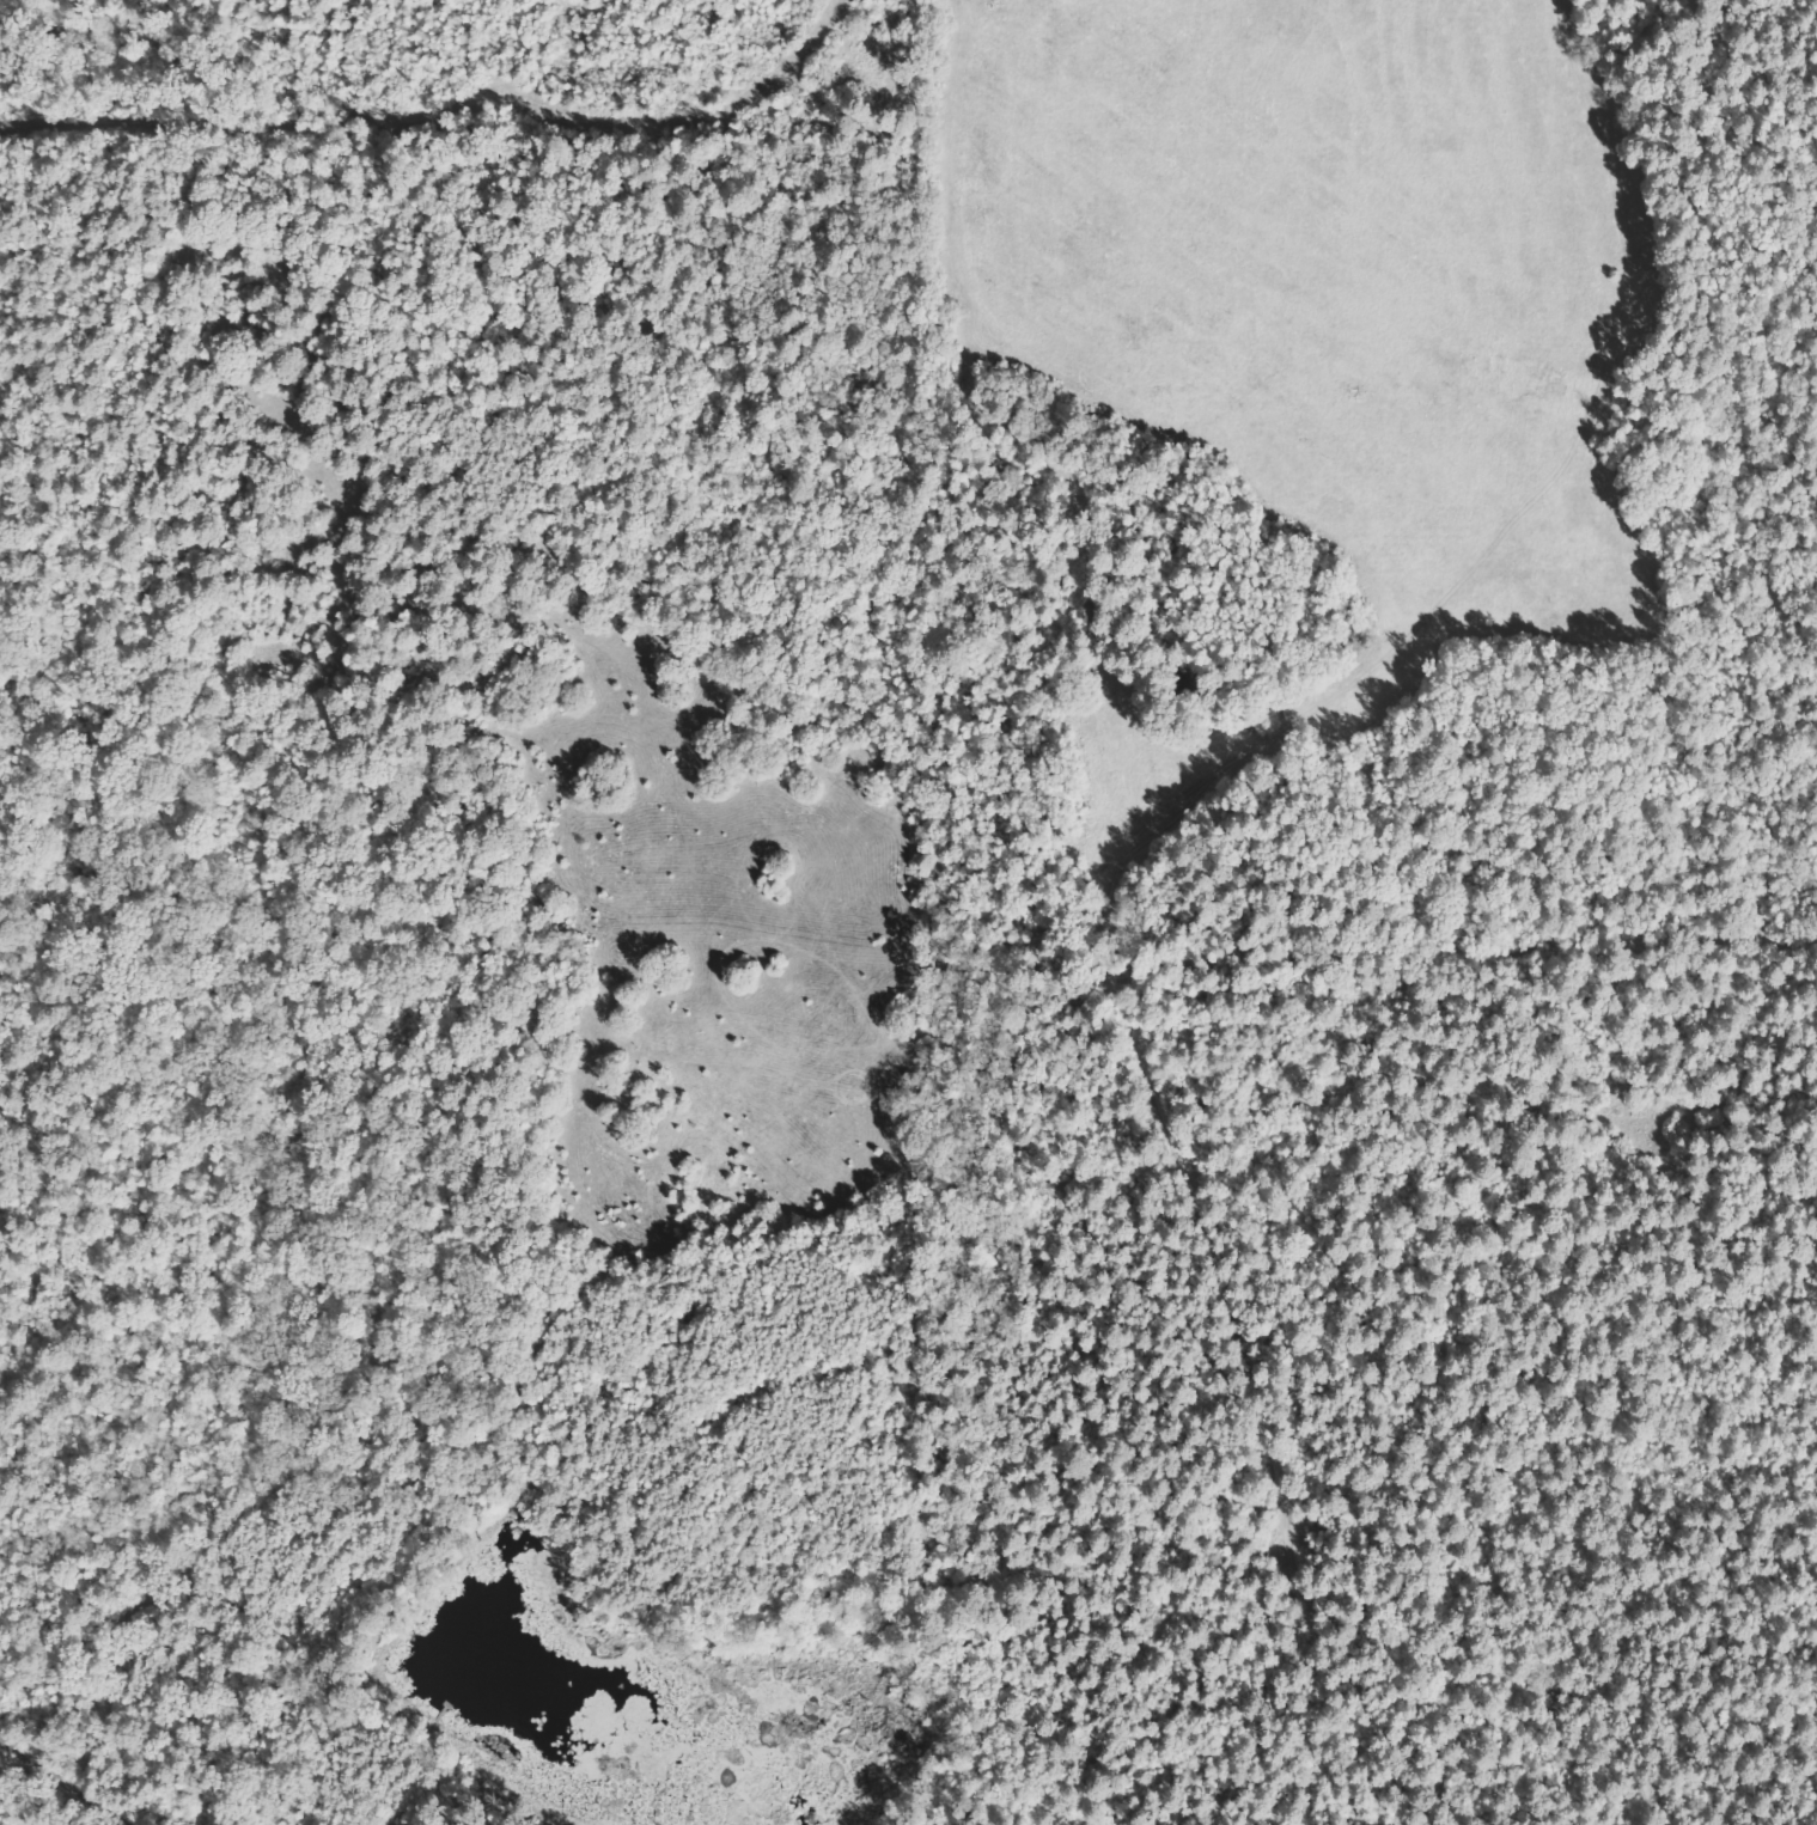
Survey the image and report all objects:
road: (57, 1783)

